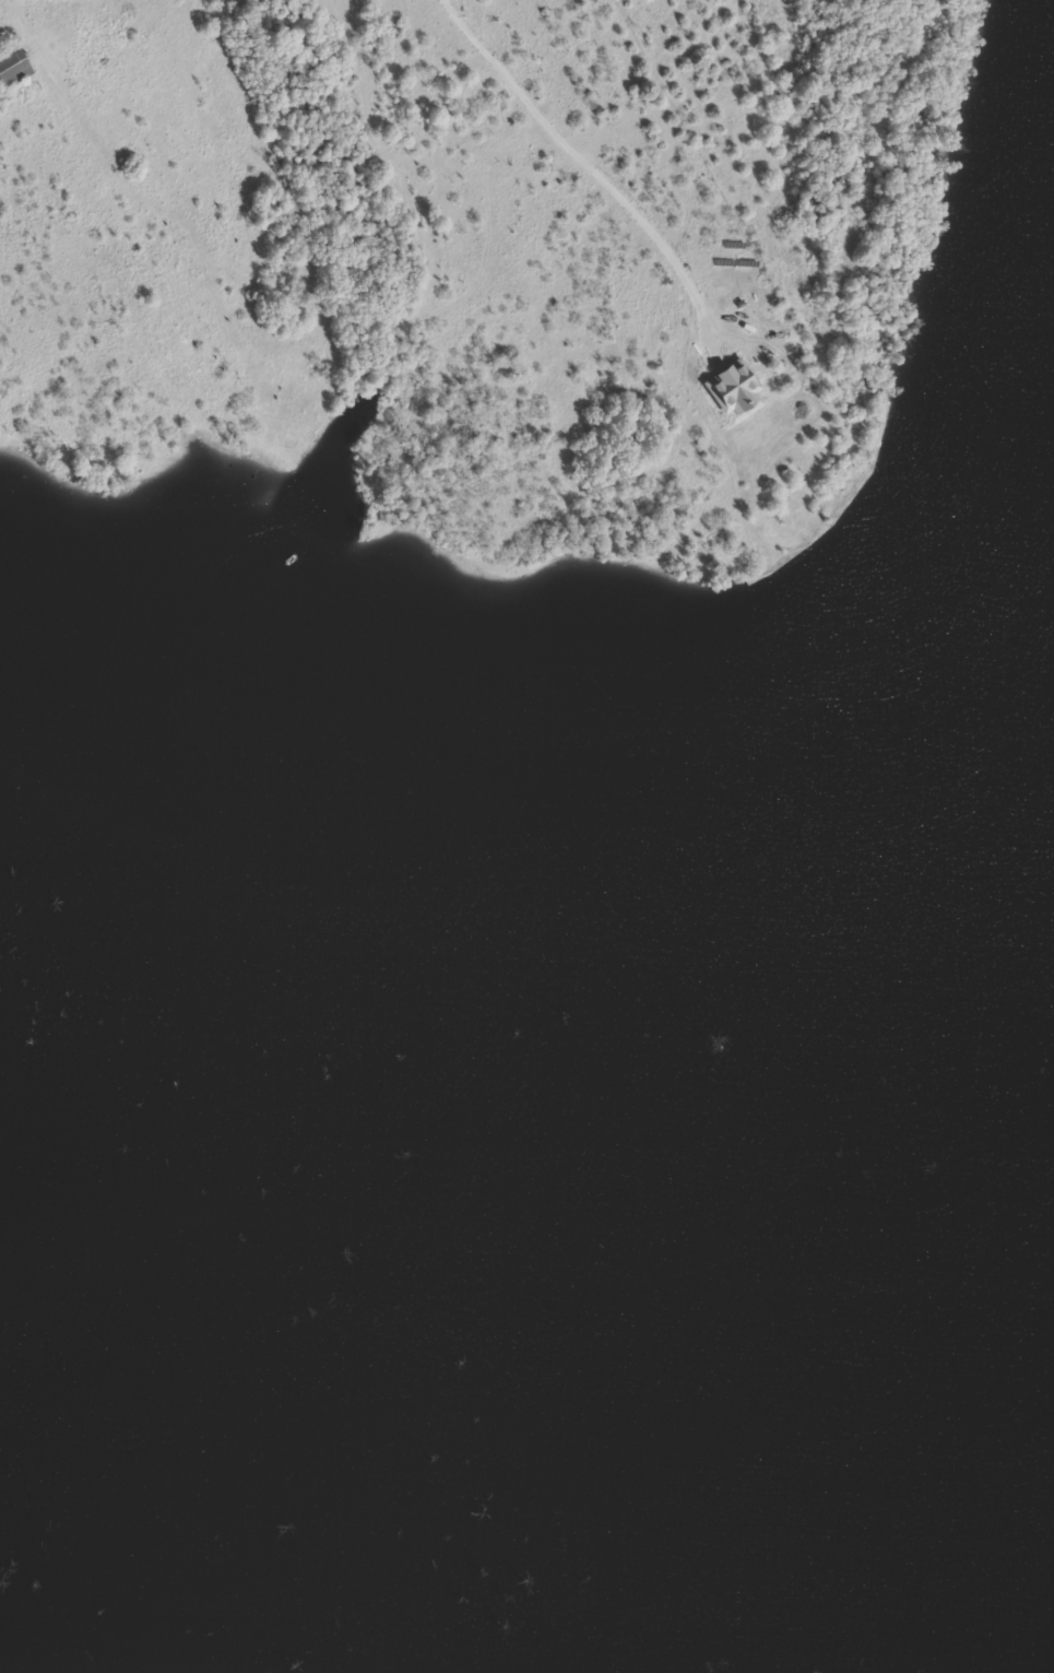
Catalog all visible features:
building: (14, 69)

